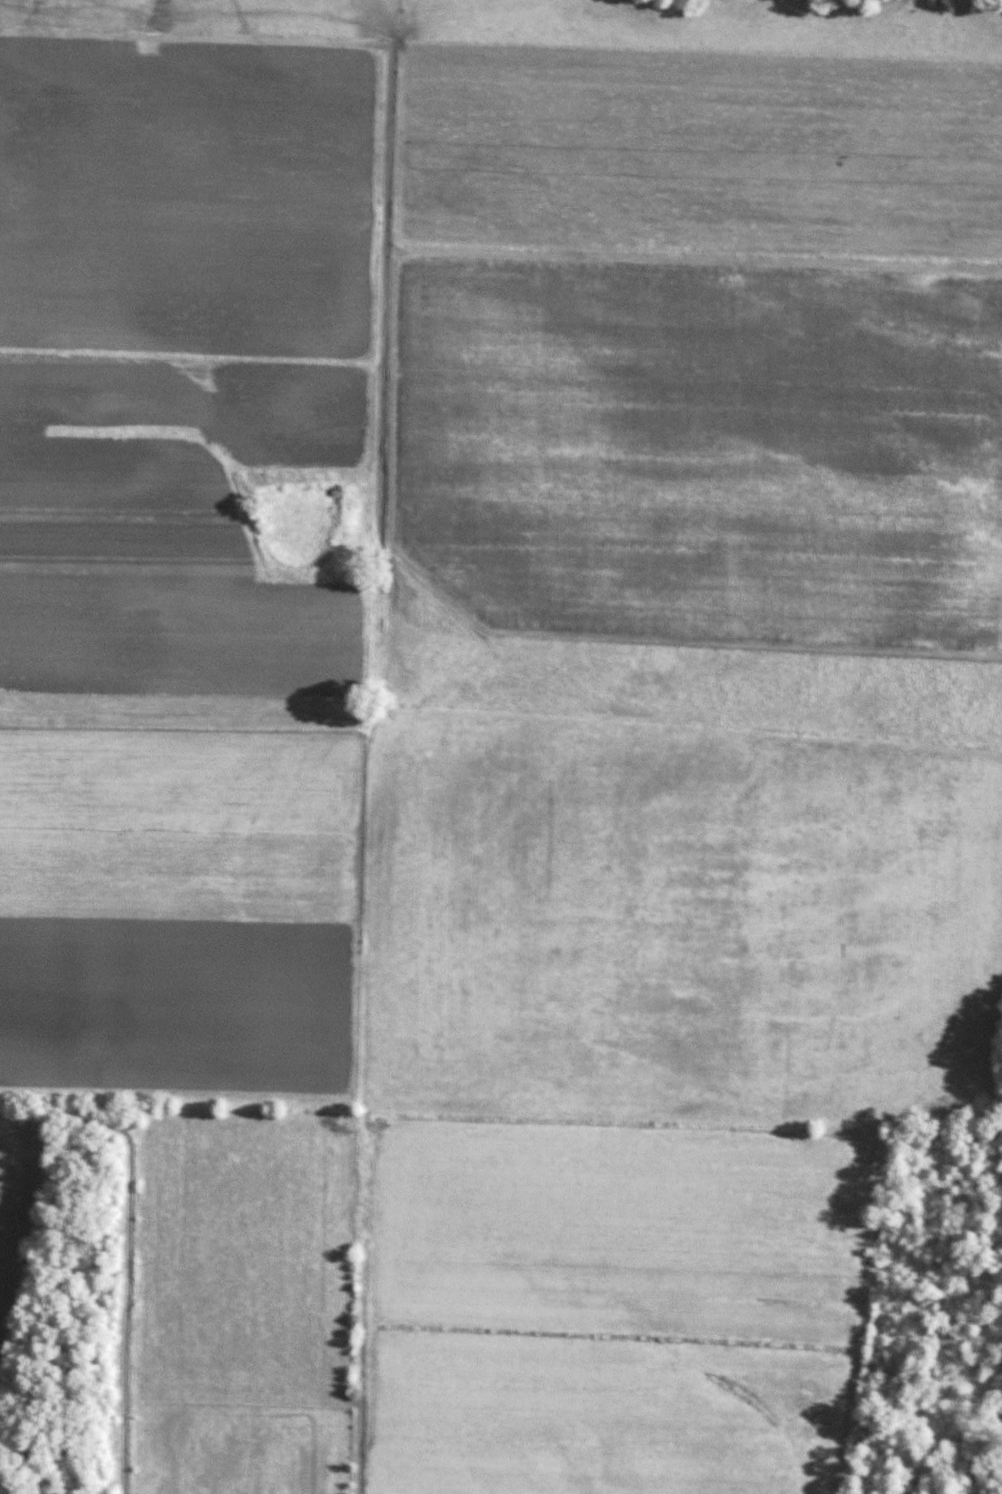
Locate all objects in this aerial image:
road: (368, 1311)
road: (124, 1318)

